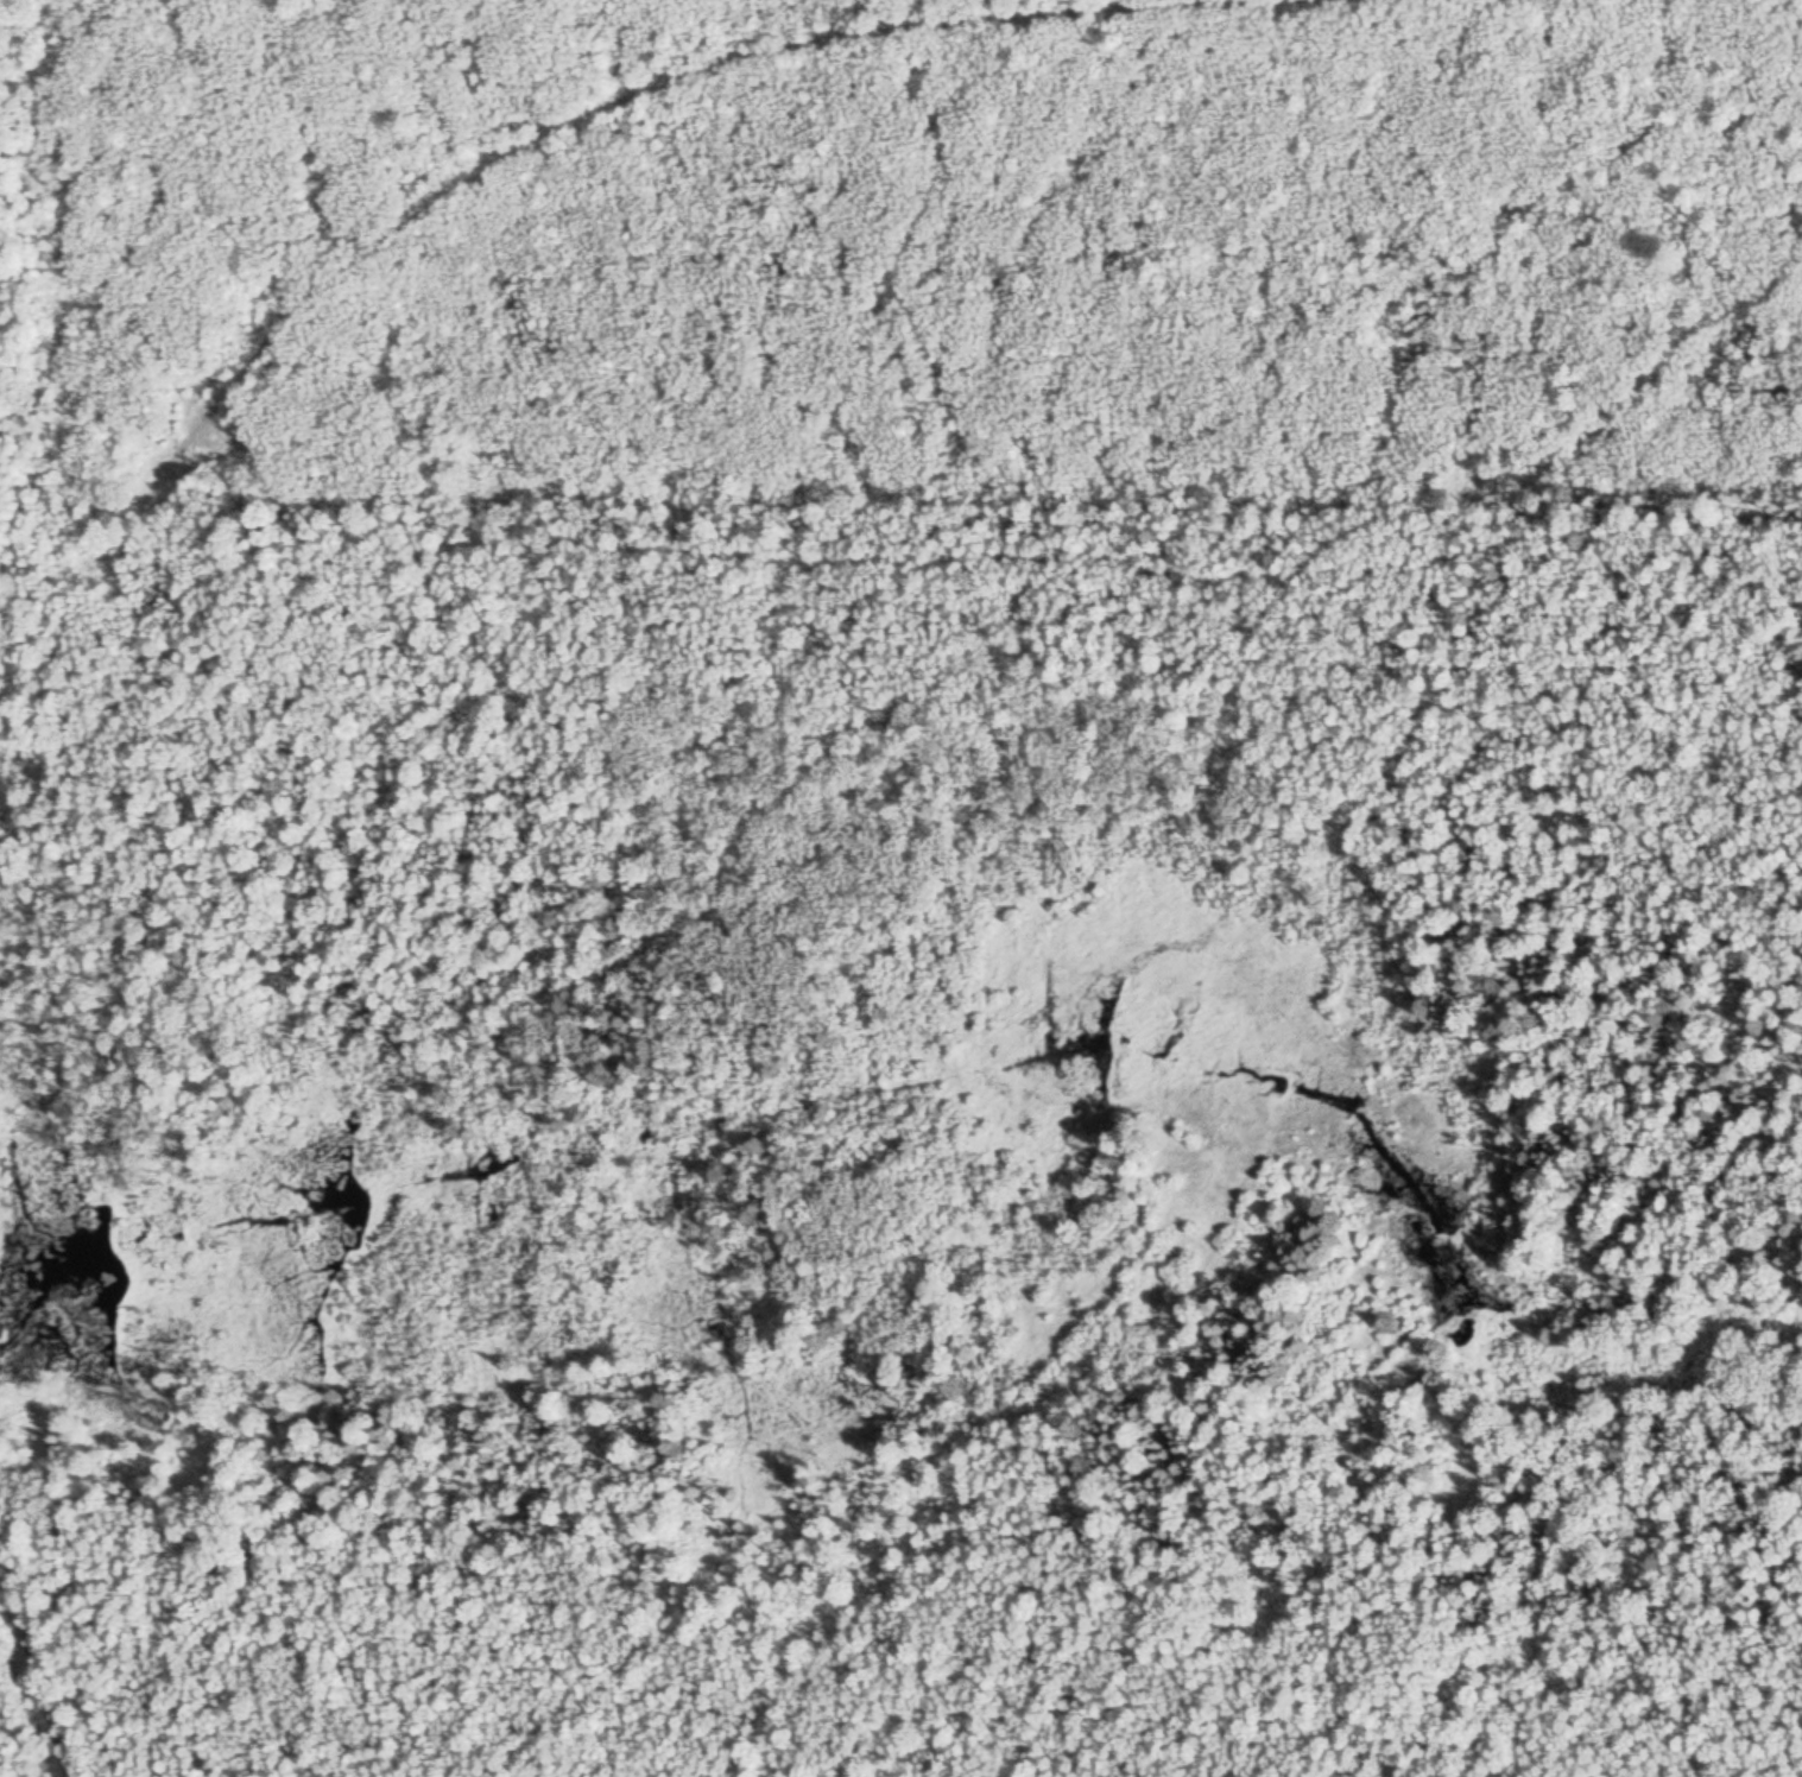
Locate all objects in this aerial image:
road: (382, 233)
road: (36, 1649)

